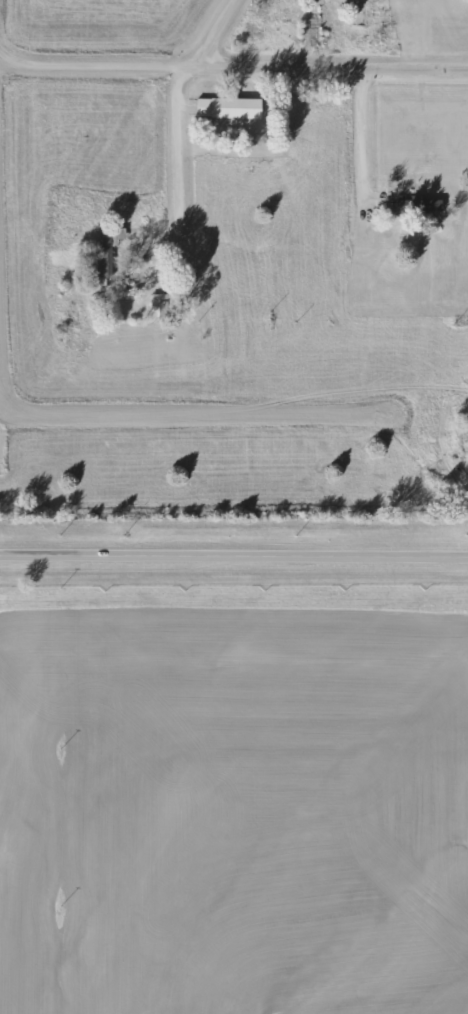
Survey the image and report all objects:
building: (356, 12)
building: (320, 19)
road: (219, 33)
road: (236, 67)
road: (2, 90)
building: (225, 108)
road: (367, 137)
road: (182, 153)
building: (413, 205)
building: (104, 256)
building: (154, 303)
road: (98, 414)
road: (234, 555)

